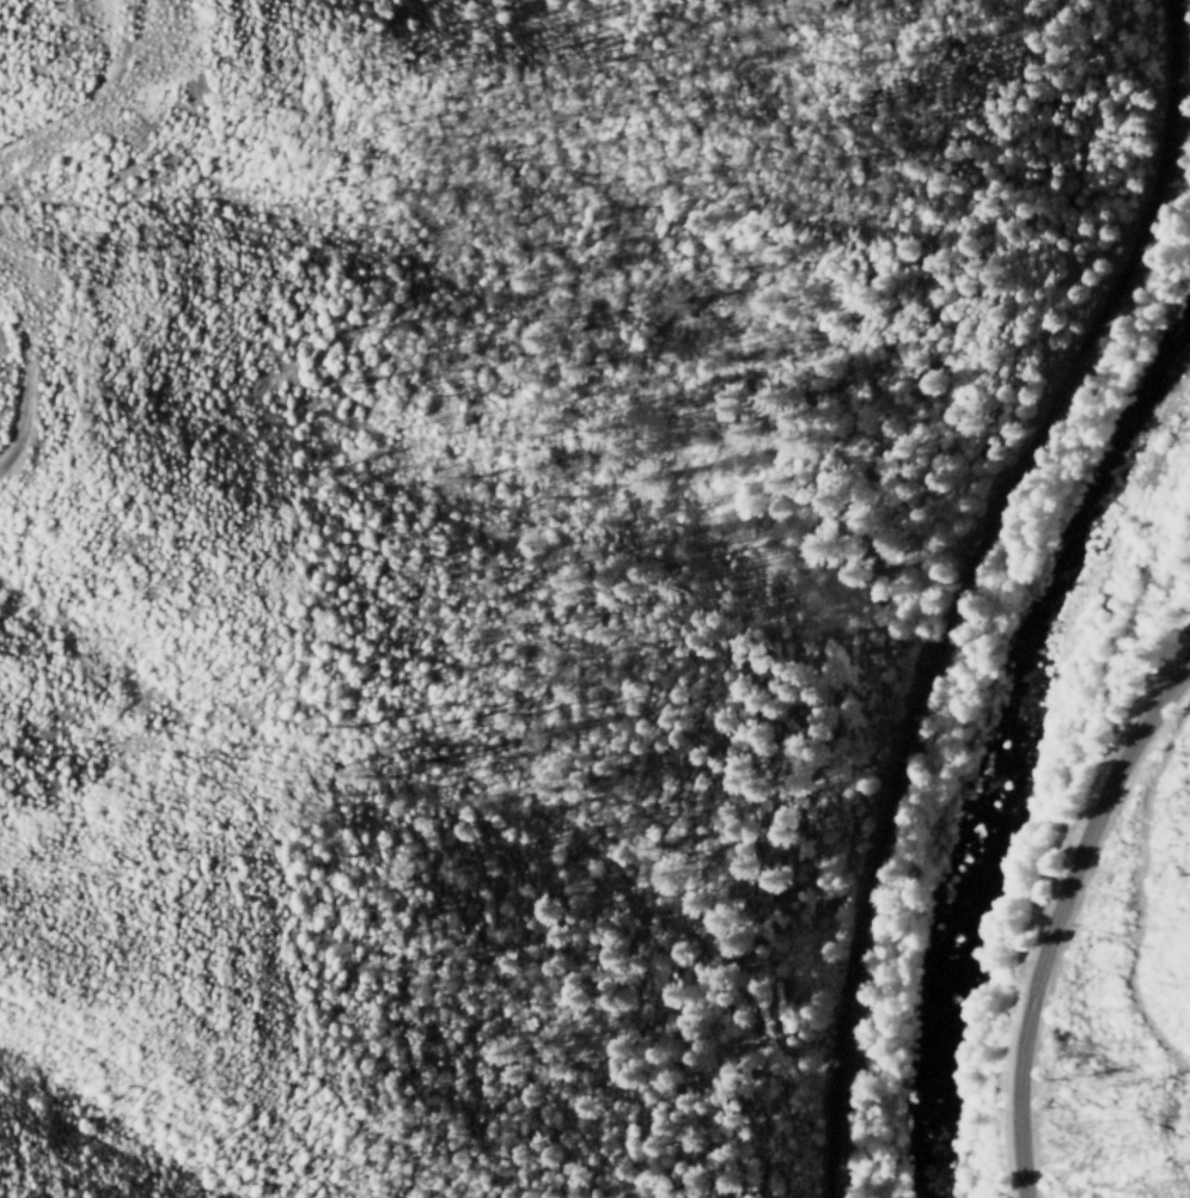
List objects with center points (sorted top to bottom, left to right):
road: (136, 72)
road: (37, 135)
road: (31, 371)
railway: (964, 582)
road: (1060, 919)

